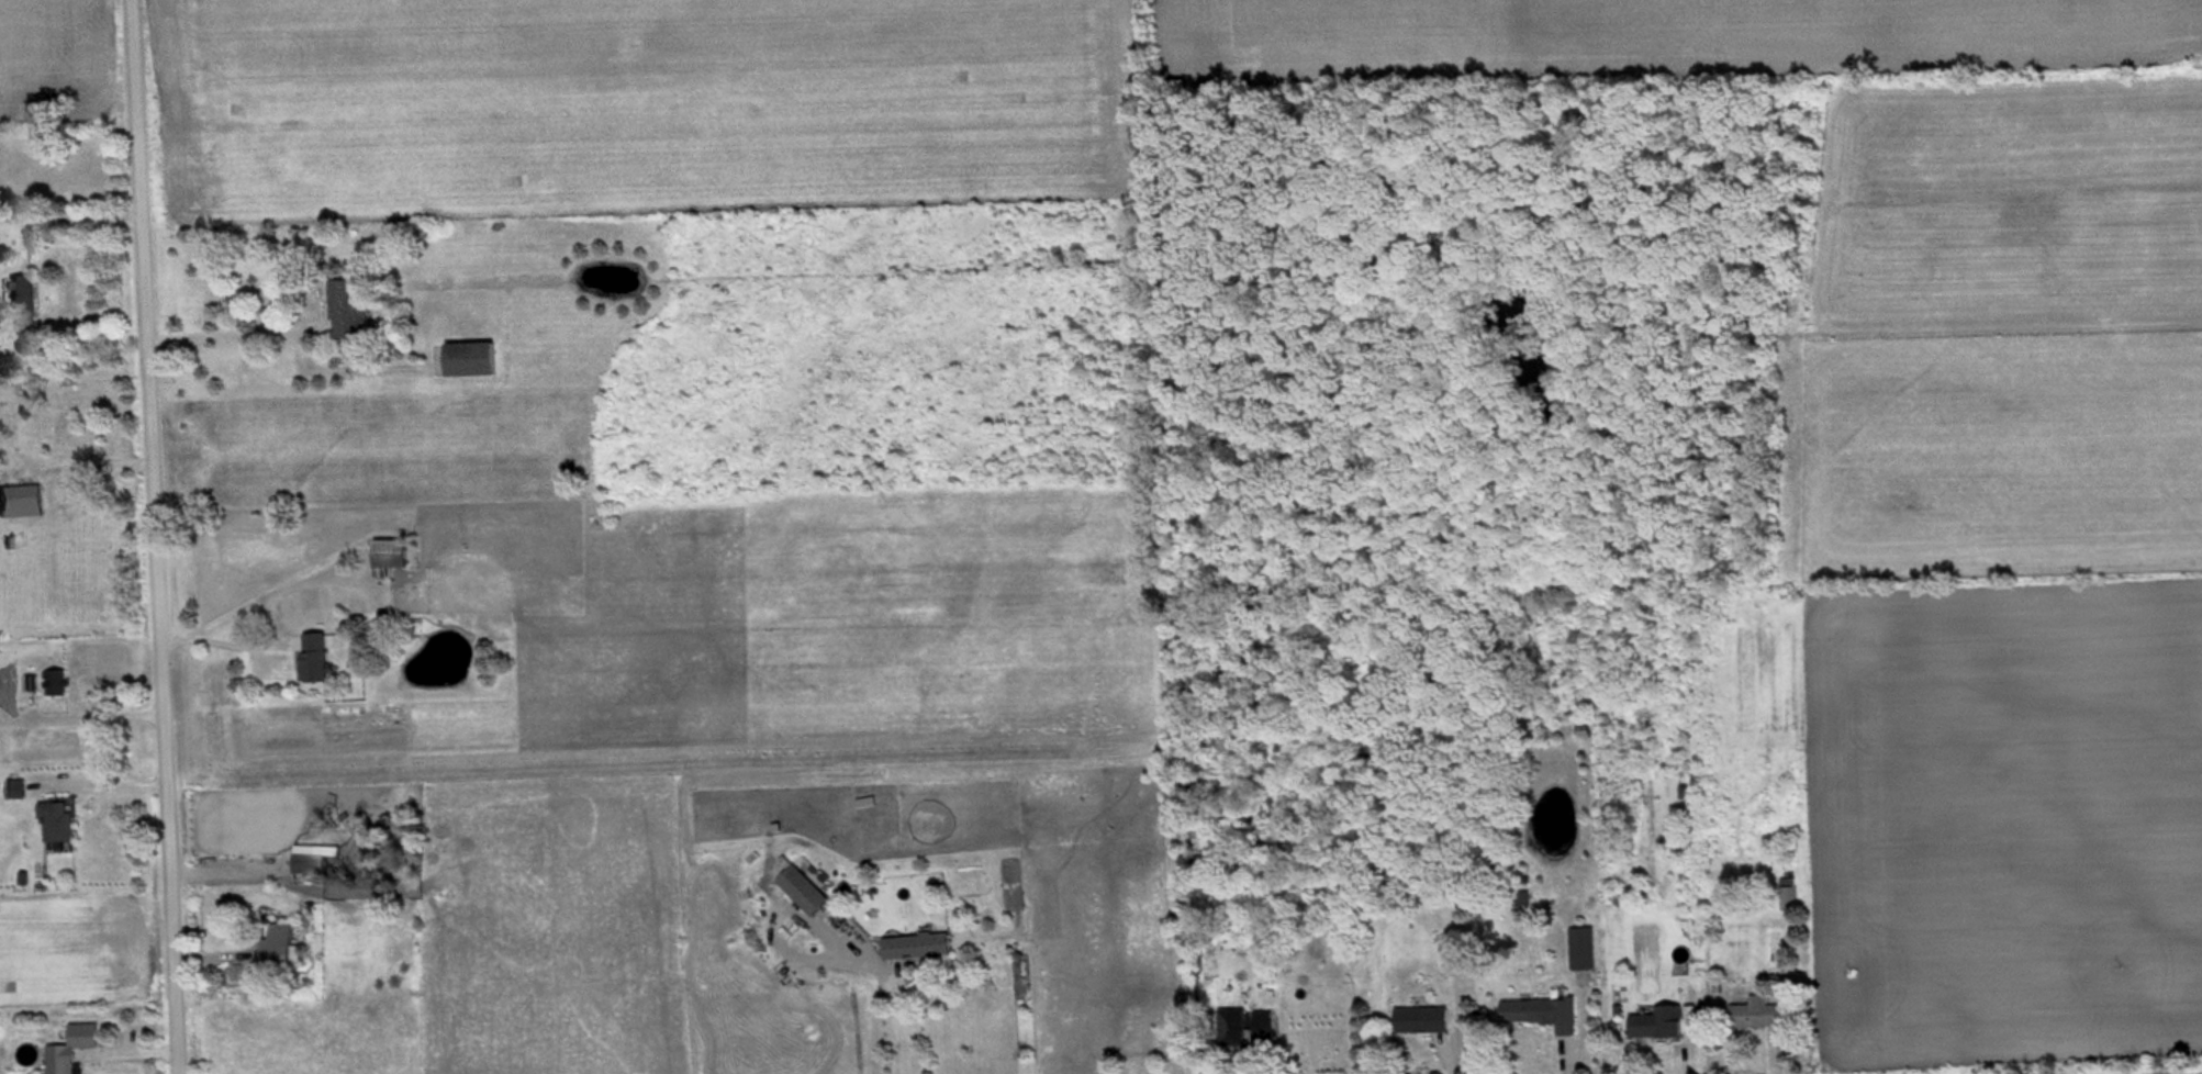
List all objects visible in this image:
building: (24, 307)
building: (351, 312)
building: (473, 361)
building: (21, 500)
road: (148, 536)
building: (392, 558)
building: (418, 670)
road: (99, 773)
building: (59, 826)
building: (312, 864)
building: (805, 894)
building: (1791, 897)
building: (839, 925)
building: (280, 948)
building: (919, 950)
building: (1586, 959)
road: (903, 988)
building: (1544, 1017)
building: (1763, 1018)
building: (1424, 1023)
building: (1662, 1028)
building: (1264, 1029)
building: (1234, 1030)
building: (76, 1050)

